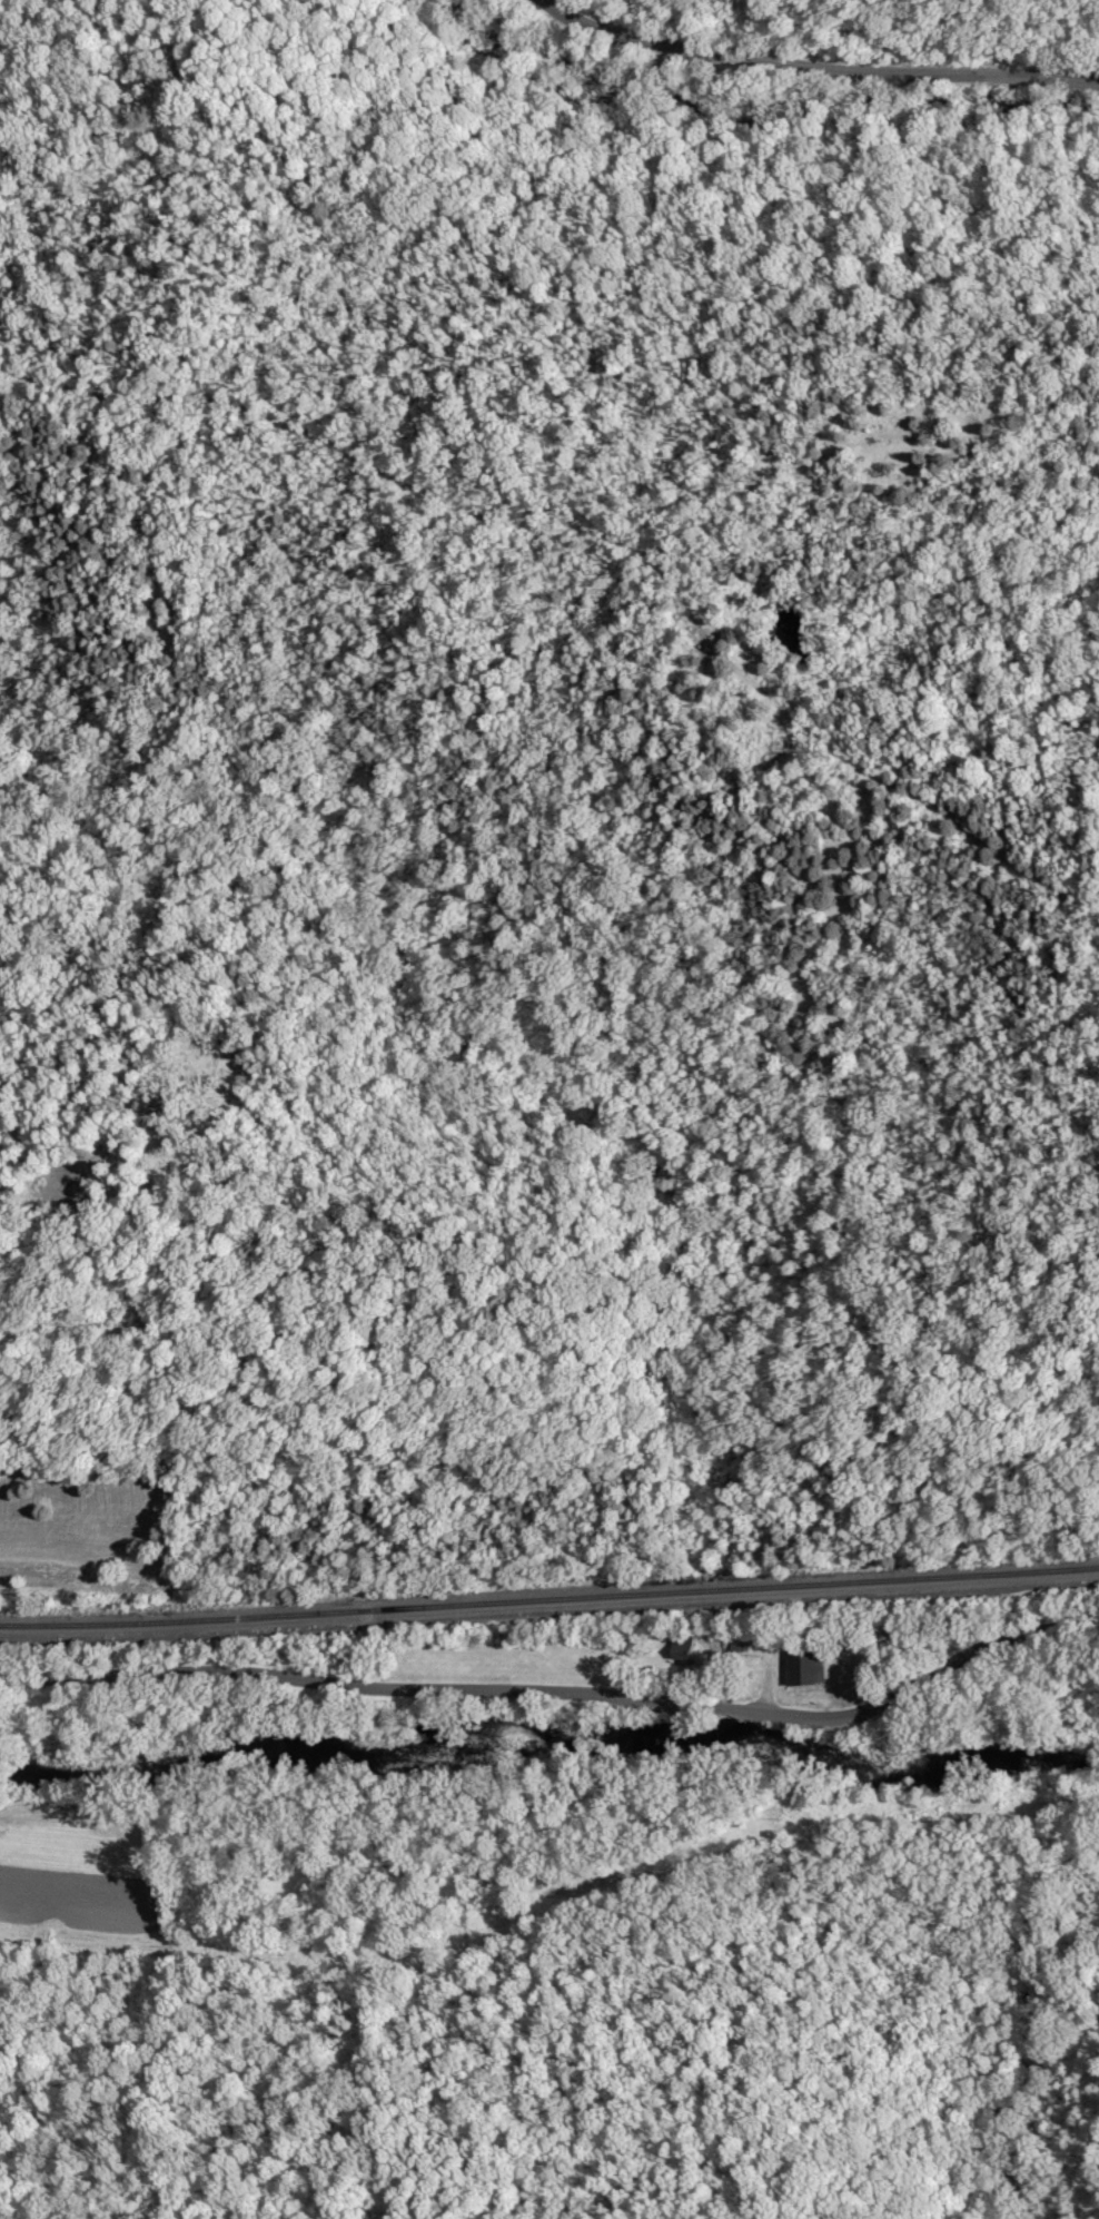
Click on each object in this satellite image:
road: (818, 65)
railway: (549, 1598)
building: (682, 1658)
road: (561, 1690)

